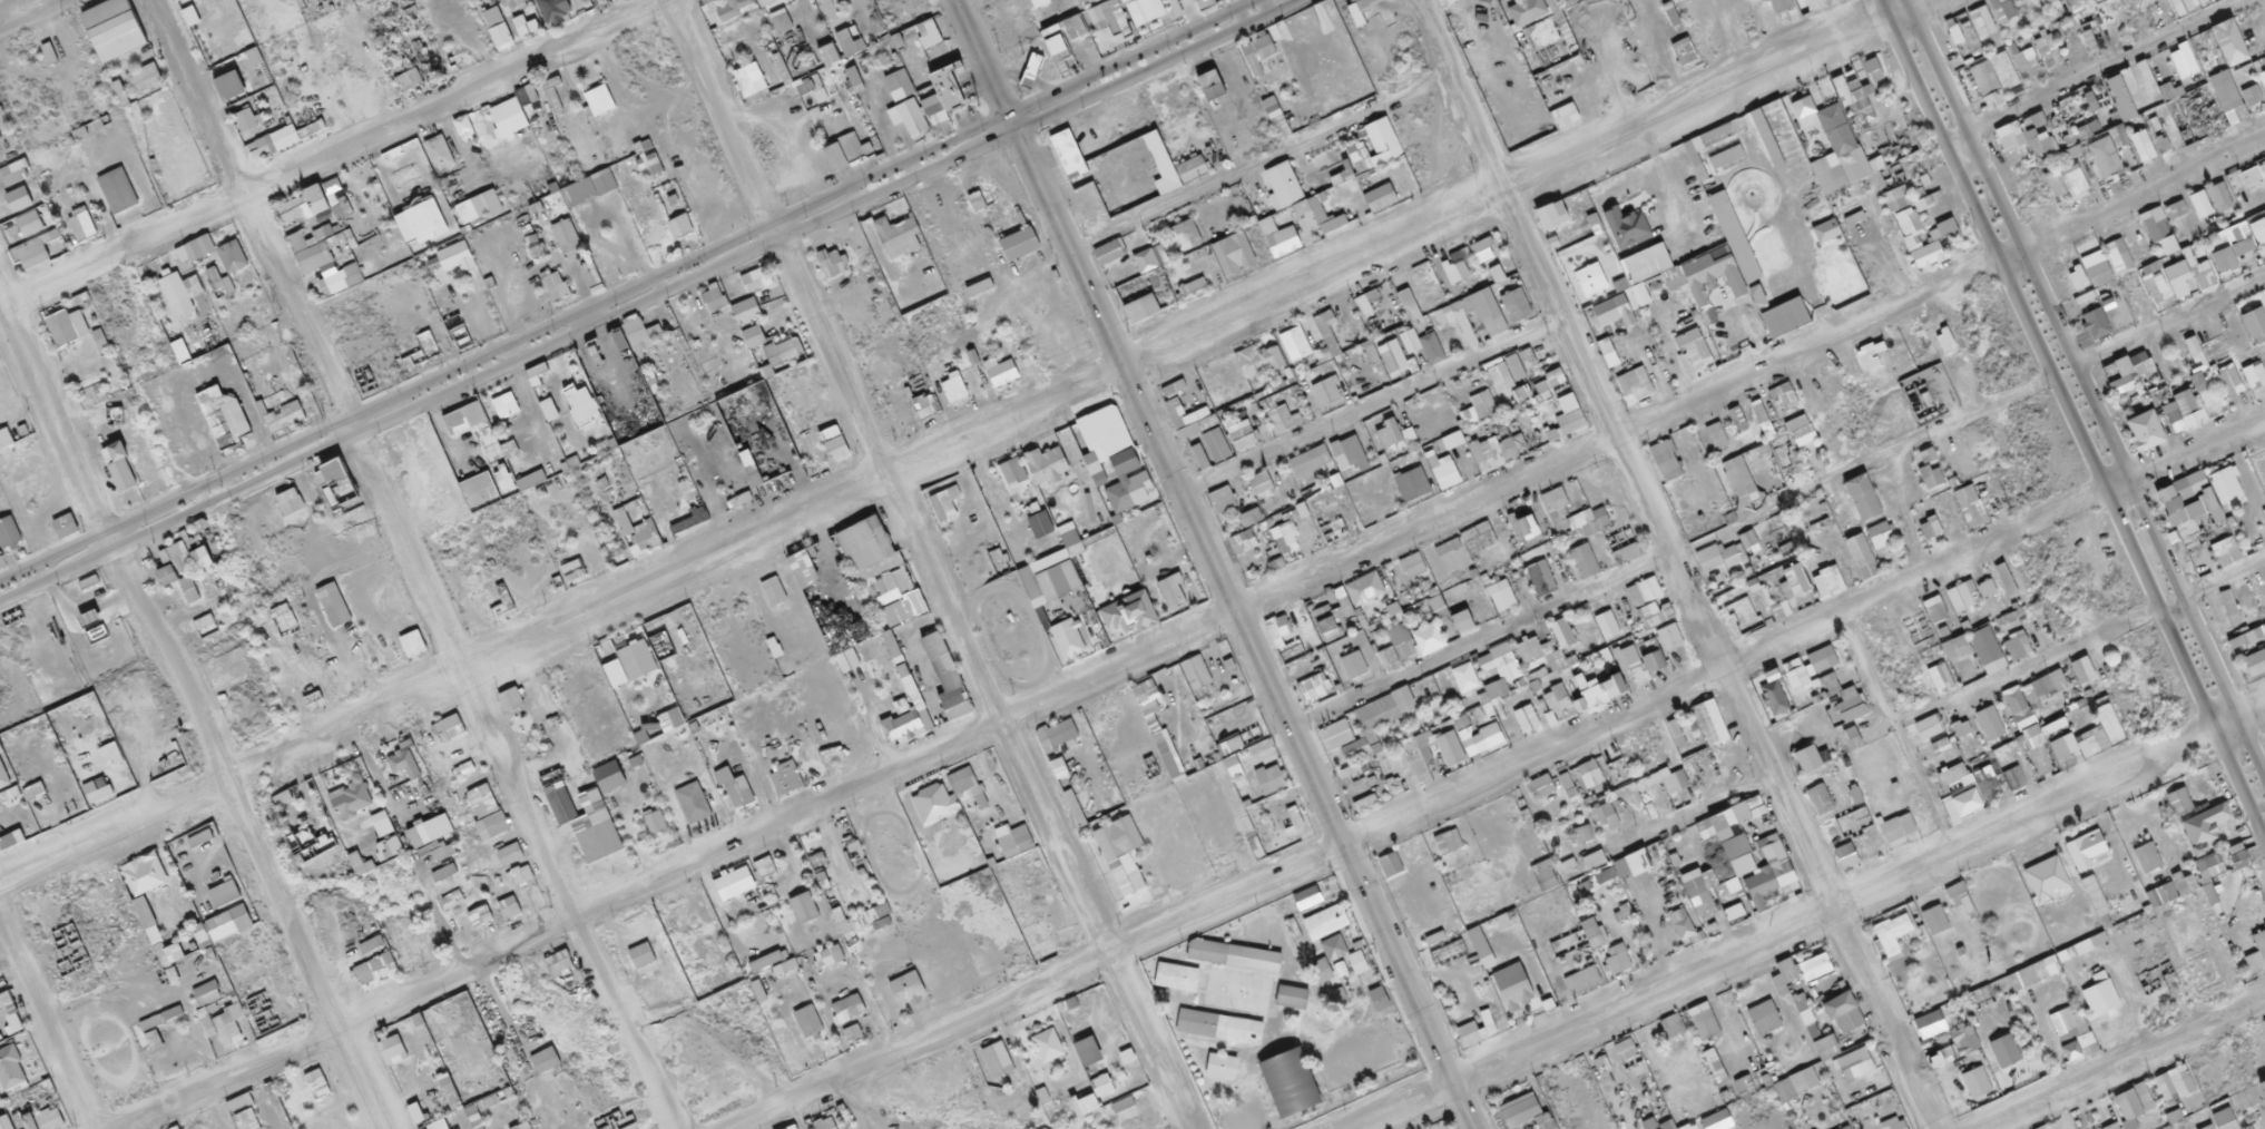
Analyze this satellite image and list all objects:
road: (955, 443)
park: (1295, 1078)

